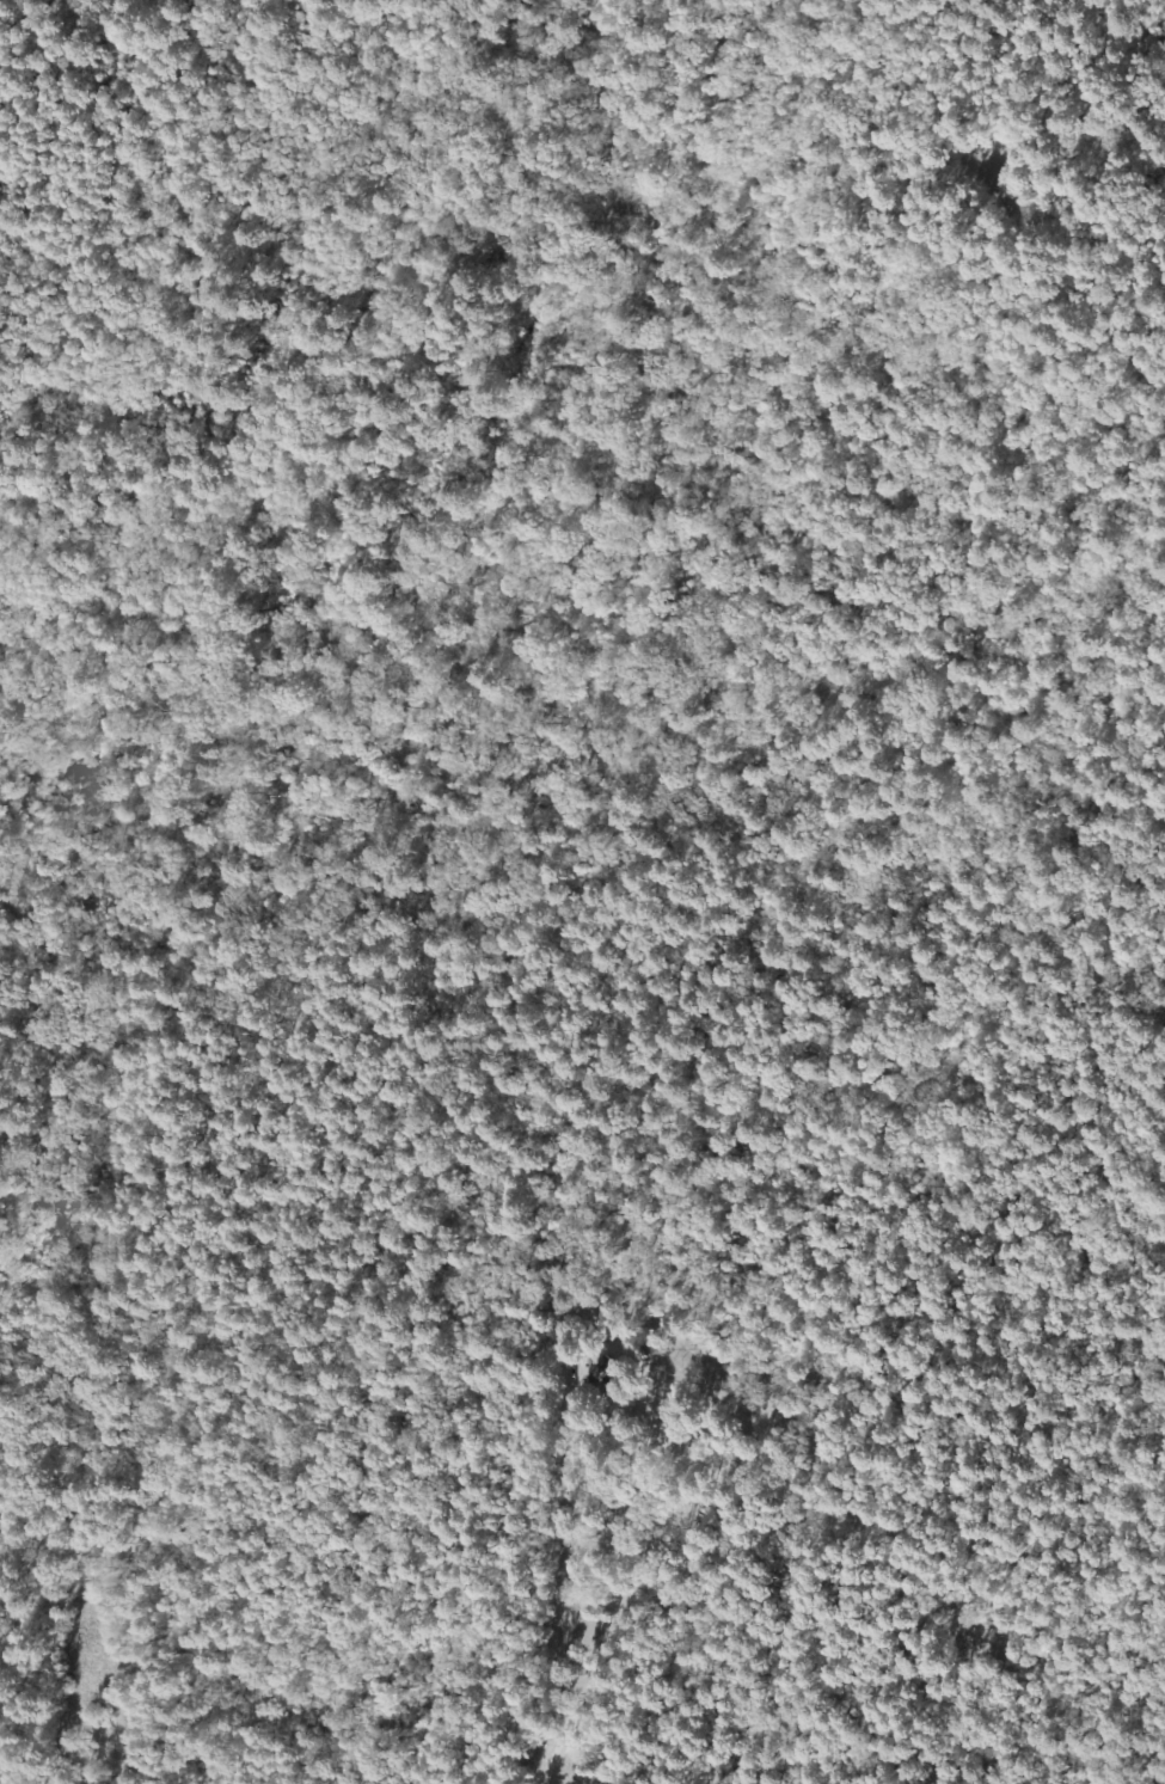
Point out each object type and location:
building: (600, 1320)
building: (596, 1380)

